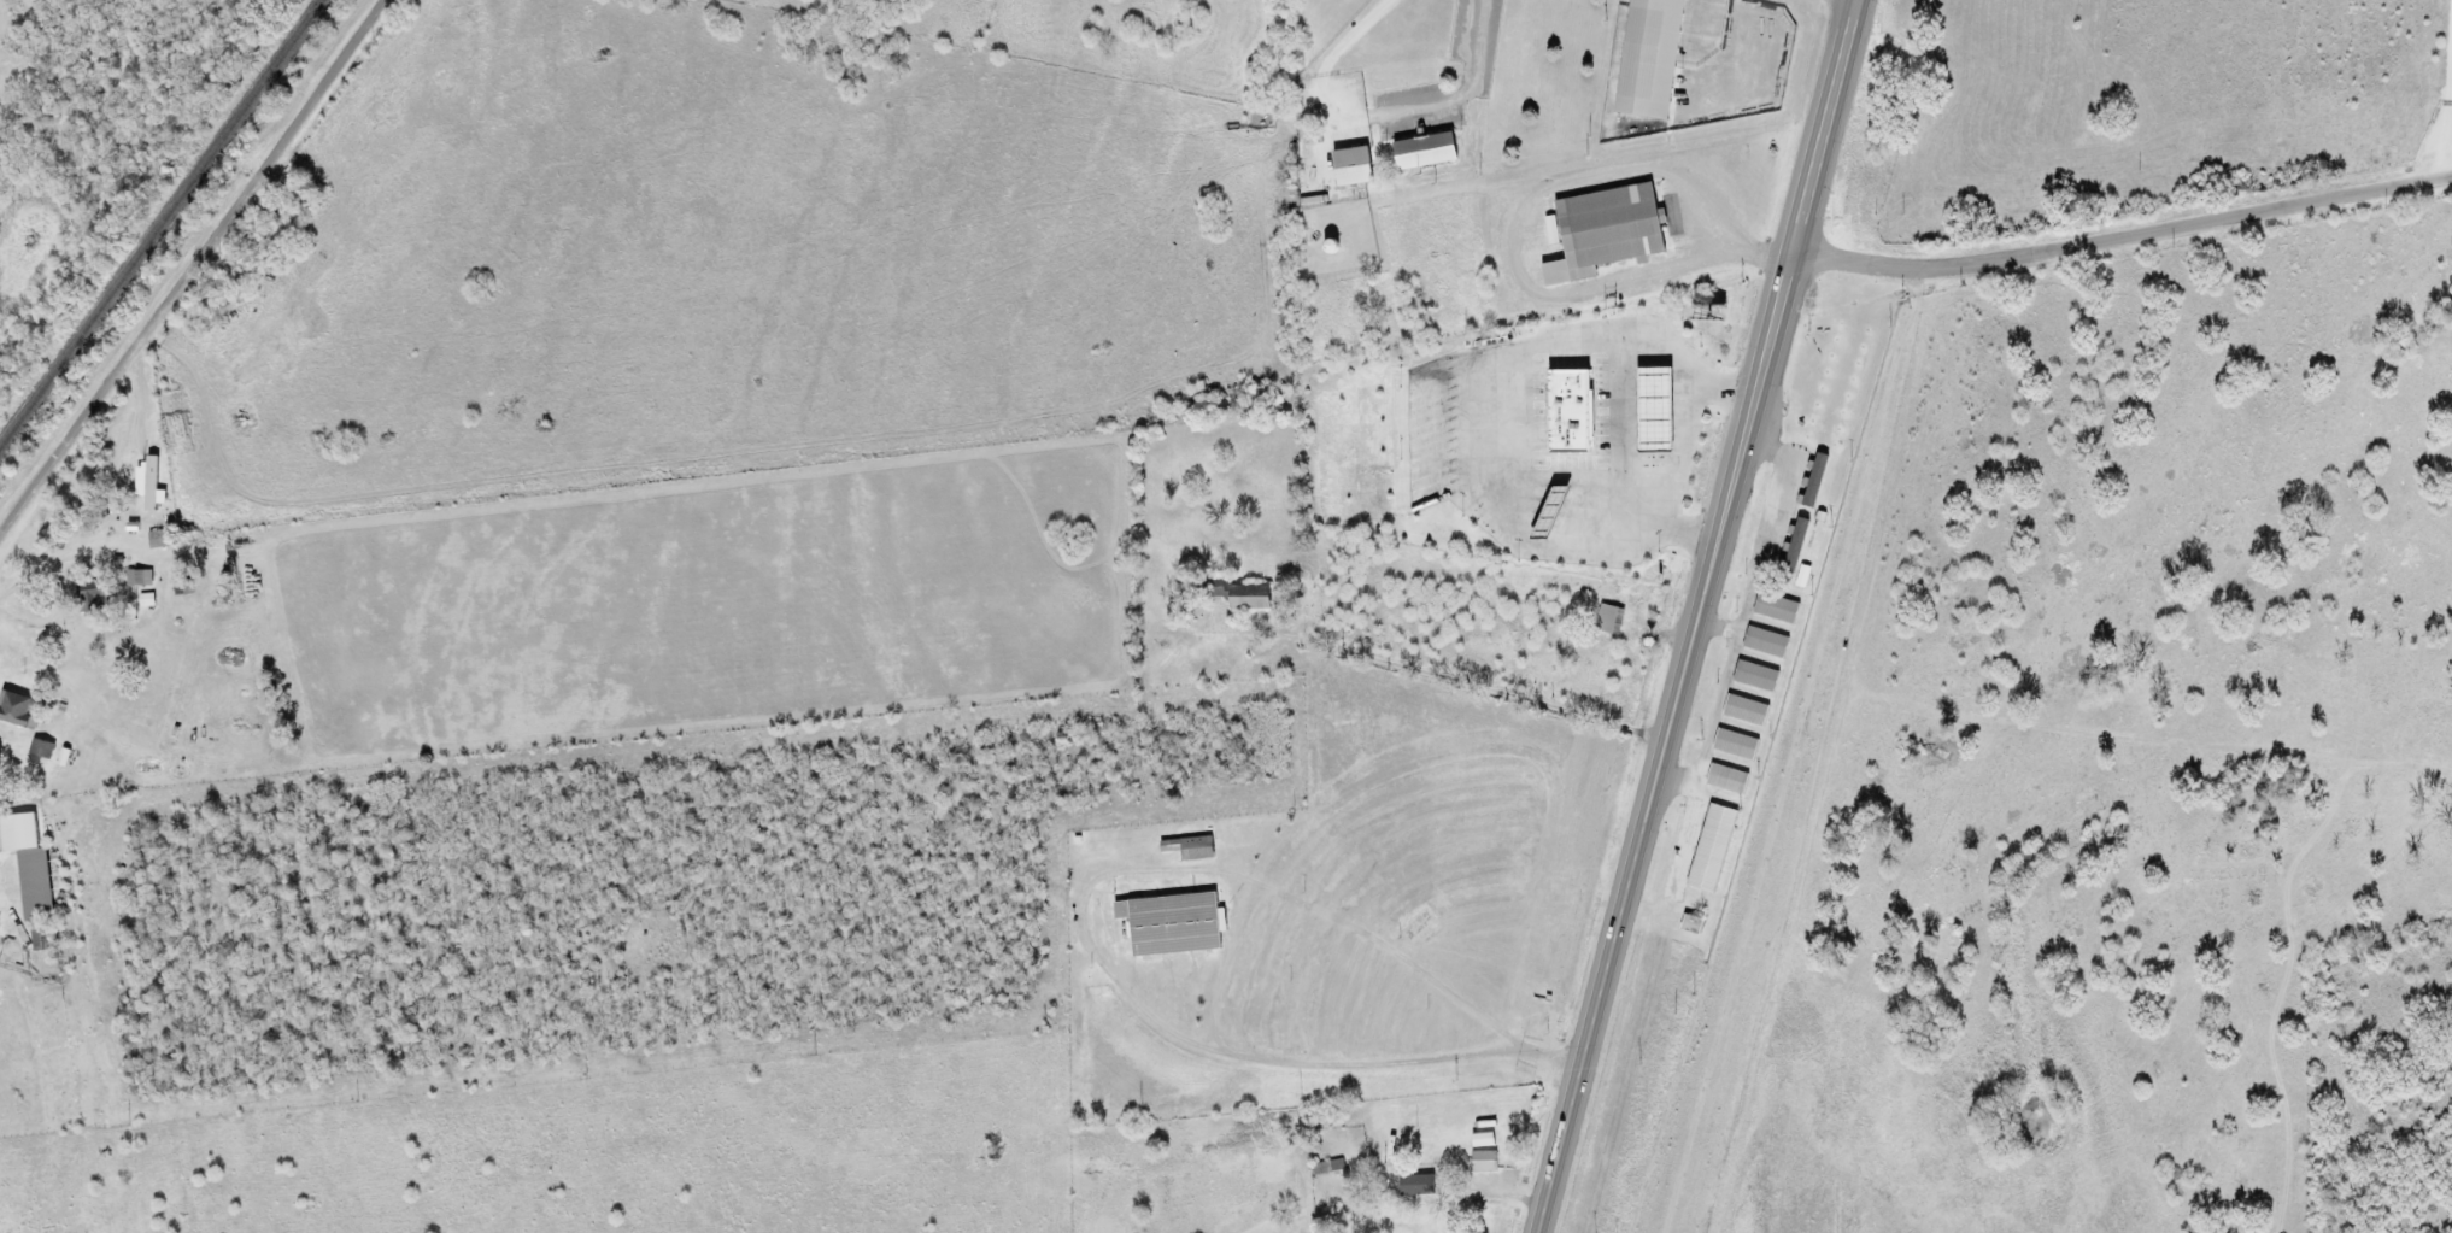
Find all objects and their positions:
building: (1653, 58)
road: (2442, 94)
building: (1427, 152)
building: (1354, 168)
railway: (159, 221)
building: (1607, 231)
road: (2119, 235)
road: (193, 268)
road: (1483, 391)
building: (1658, 407)
building: (1572, 411)
road: (1617, 419)
building: (1815, 480)
building: (151, 483)
building: (162, 539)
building: (1796, 545)
building: (140, 579)
building: (1220, 588)
building: (1251, 597)
building: (94, 599)
building: (148, 600)
building: (1777, 609)
road: (1703, 617)
building: (1611, 620)
building: (1766, 642)
building: (1756, 677)
building: (20, 710)
building: (1747, 711)
road: (1368, 728)
building: (1737, 745)
building: (43, 750)
building: (1729, 779)
building: (1191, 849)
building: (1714, 849)
building: (30, 864)
building: (0, 918)
building: (1175, 924)
building: (39, 940)
building: (1485, 1140)
building: (1485, 1162)
building: (1328, 1168)
building: (1418, 1186)

